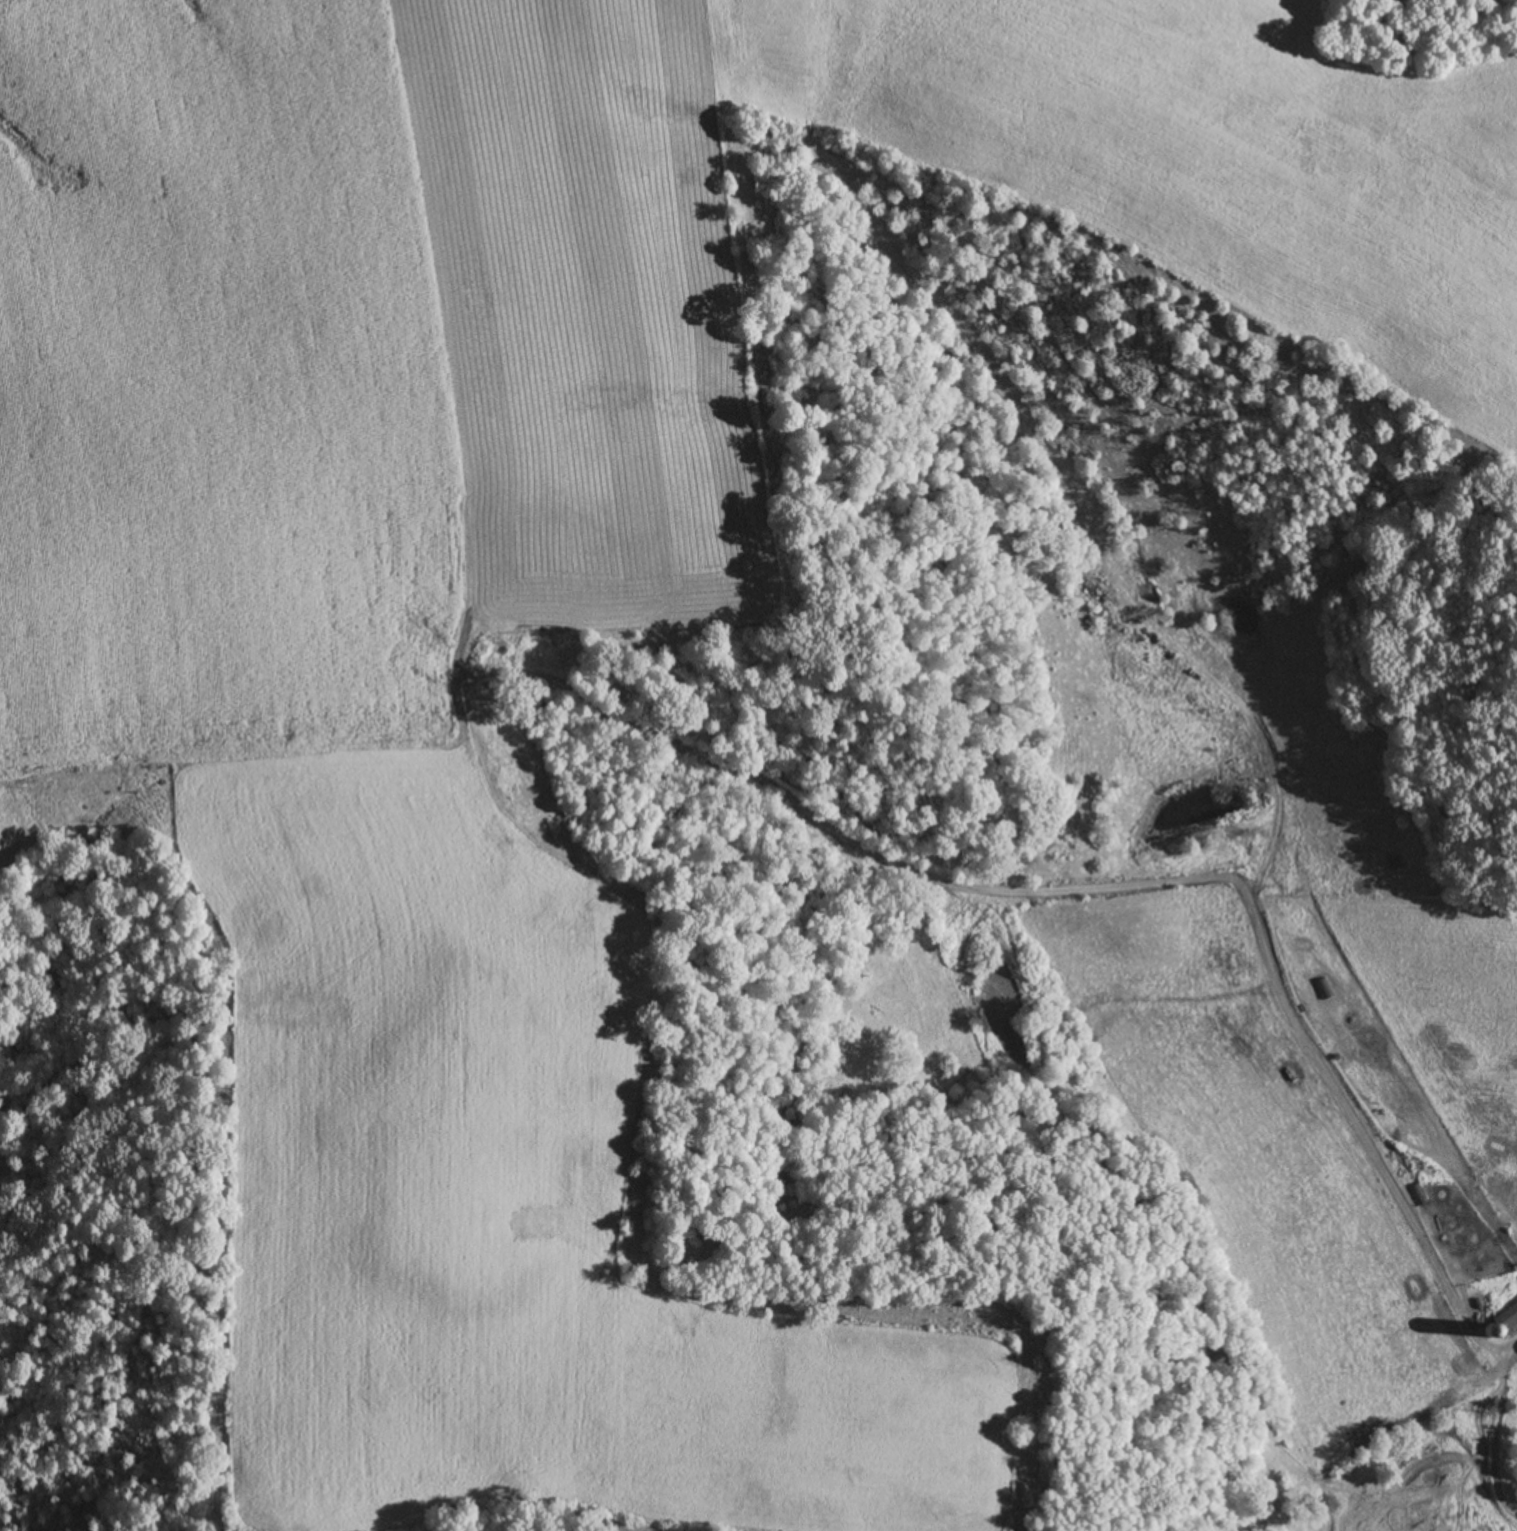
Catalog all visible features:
building: (1325, 988)
building: (1418, 1193)
building: (1507, 1319)
road: (1496, 1344)

